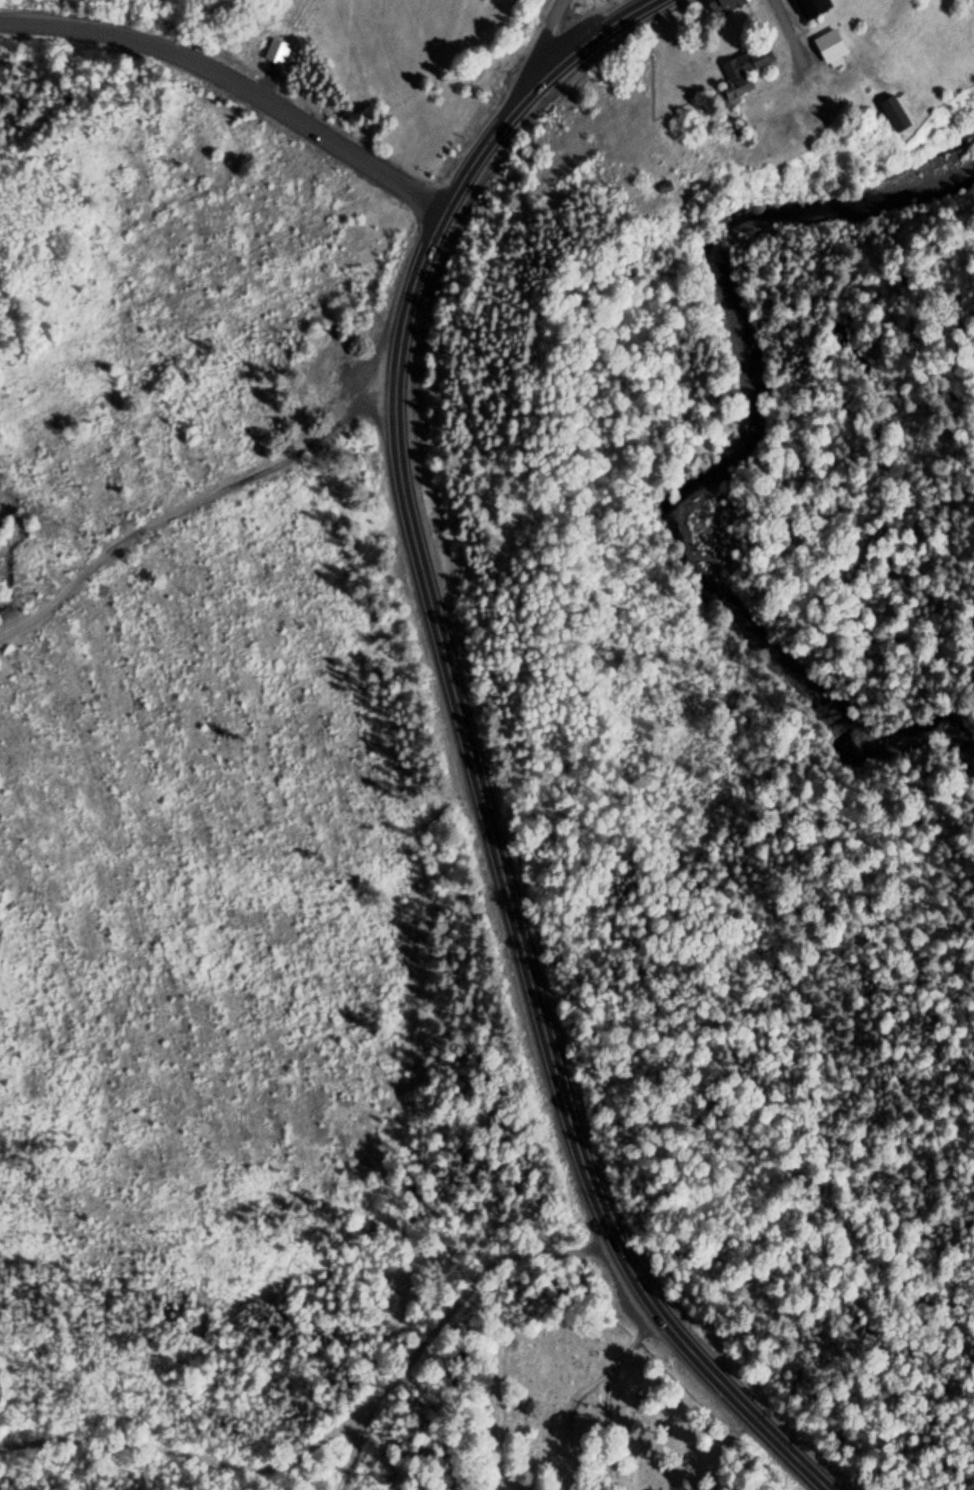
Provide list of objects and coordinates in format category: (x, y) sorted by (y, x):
building: (483, 0)
building: (730, 4)
building: (813, 8)
road: (789, 28)
road: (544, 34)
building: (831, 48)
building: (749, 63)
building: (744, 89)
road: (231, 91)
building: (895, 114)
road: (445, 210)
river: (751, 436)
road: (544, 1031)
road: (637, 1336)
park: (591, 1414)
road: (566, 1416)
road: (606, 1426)

